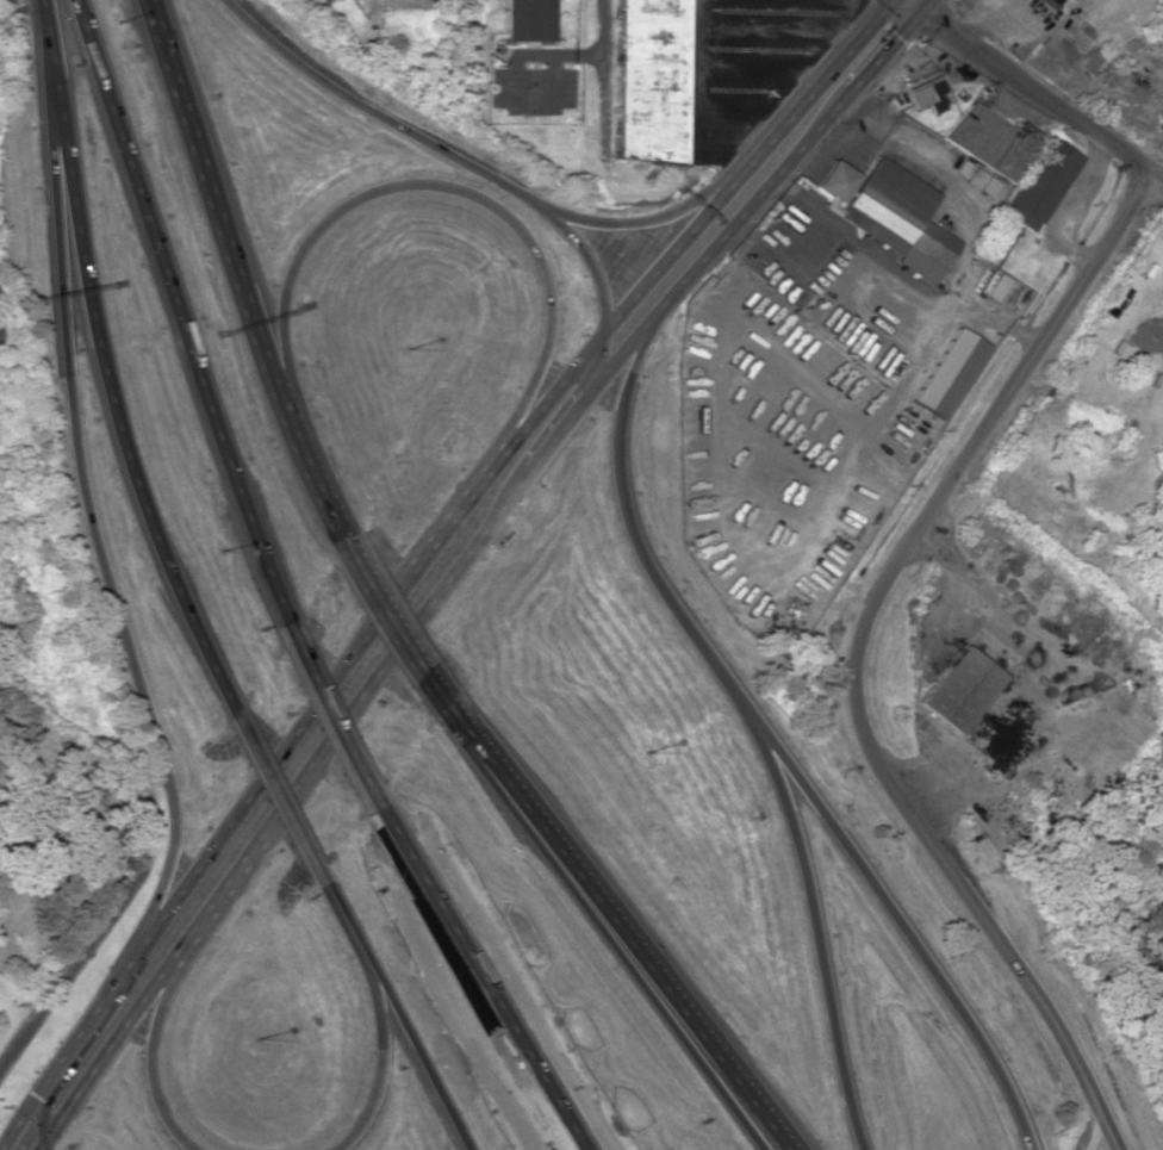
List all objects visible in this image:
building: (324, 0)
road: (900, 0)
road: (901, 0)
traffic signals: (901, 1)
building: (1049, 2)
road: (863, 10)
road: (371, 14)
building: (528, 19)
road: (777, 29)
road: (559, 55)
parking lot: (744, 63)
road: (759, 70)
building: (652, 79)
road: (1026, 87)
parking lot: (534, 88)
building: (926, 94)
road: (605, 99)
road: (697, 100)
road: (531, 108)
building: (989, 139)
road: (472, 162)
road: (124, 166)
road: (1157, 178)
road: (408, 184)
building: (1040, 185)
building: (889, 213)
road: (641, 220)
road: (696, 224)
road: (223, 241)
road: (104, 363)
building: (949, 373)
road: (542, 456)
road: (234, 478)
road: (81, 491)
road: (329, 514)
road: (396, 629)
road: (860, 655)
building: (962, 690)
road: (334, 716)
road: (772, 739)
road: (275, 792)
road: (247, 801)
road: (338, 909)
road: (810, 909)
road: (608, 916)
road: (484, 978)
road: (114, 1037)
road: (151, 1040)
road: (413, 1048)
road: (379, 1052)
road: (41, 1113)
road: (773, 1138)
road: (777, 1138)

